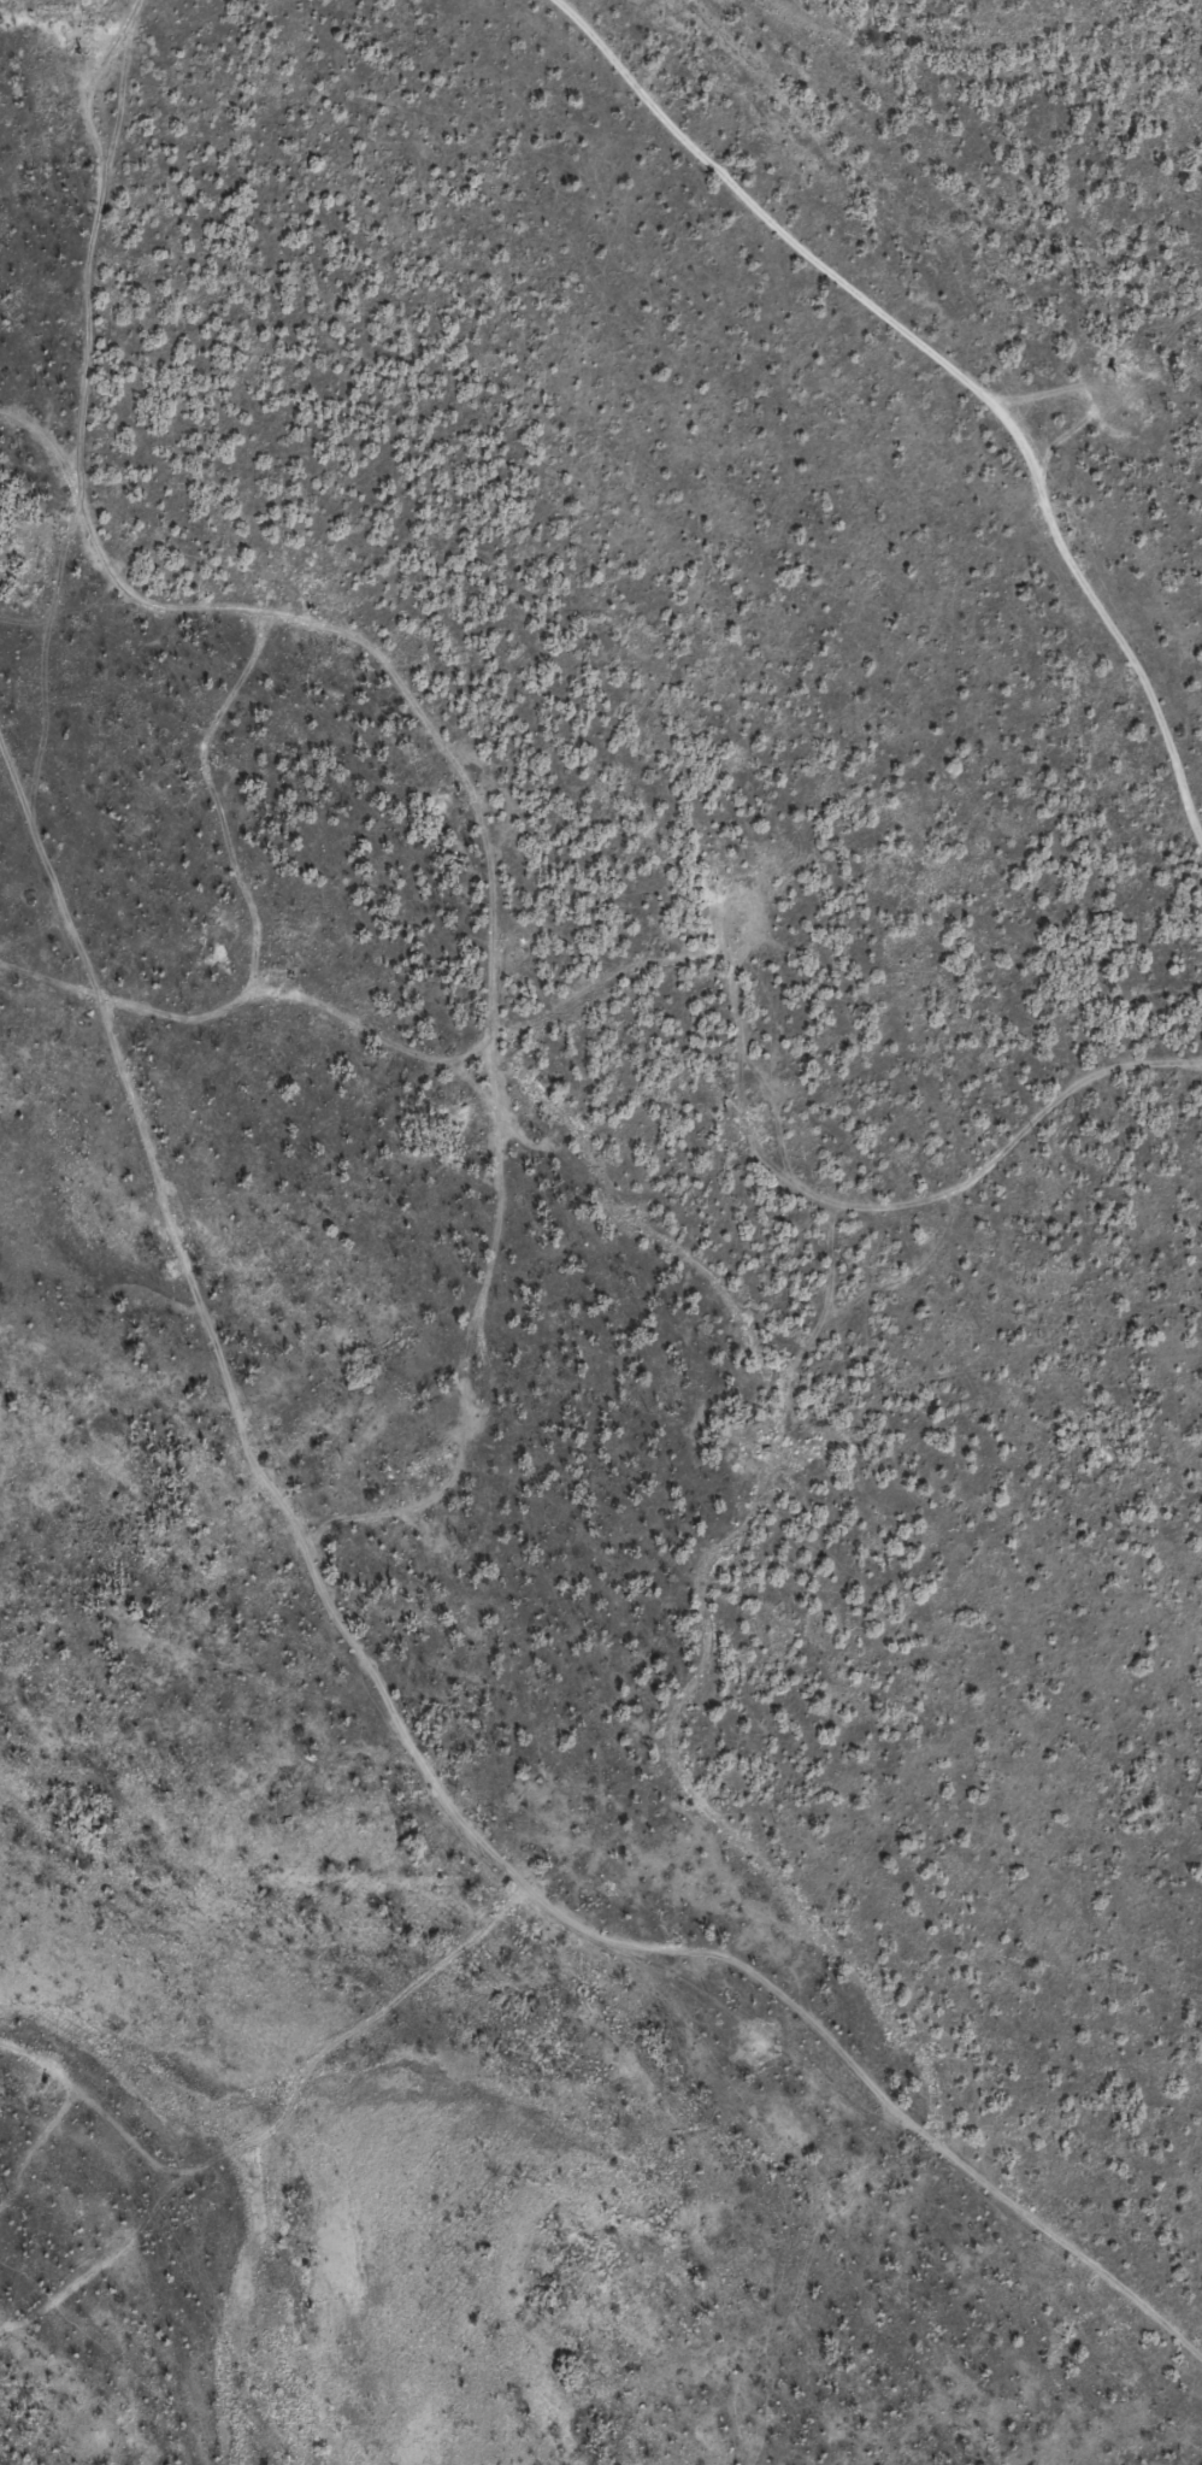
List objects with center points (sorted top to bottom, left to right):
road: (944, 375)
road: (438, 1787)

